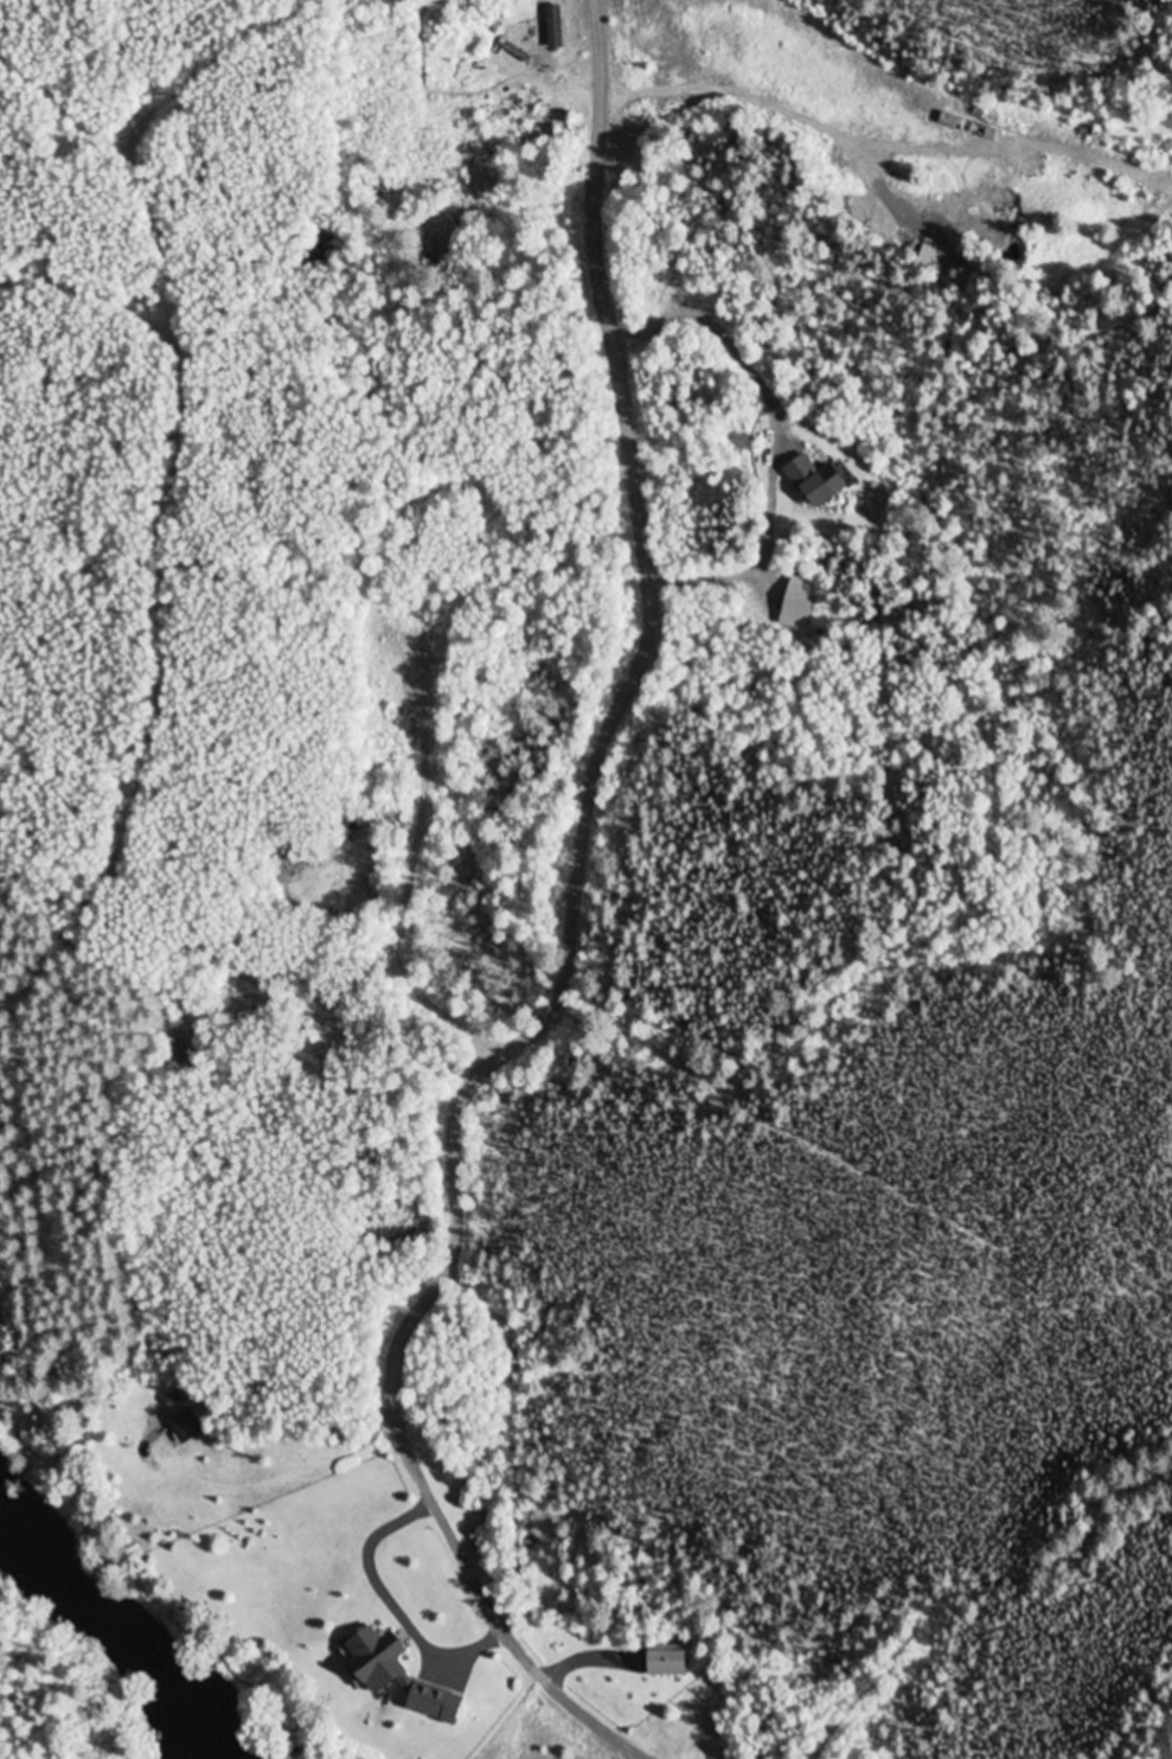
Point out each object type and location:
quarry: (180, 116)
road: (885, 145)
building: (814, 481)
road: (571, 946)
building: (184, 1427)
building: (204, 1554)
river: (102, 1638)

